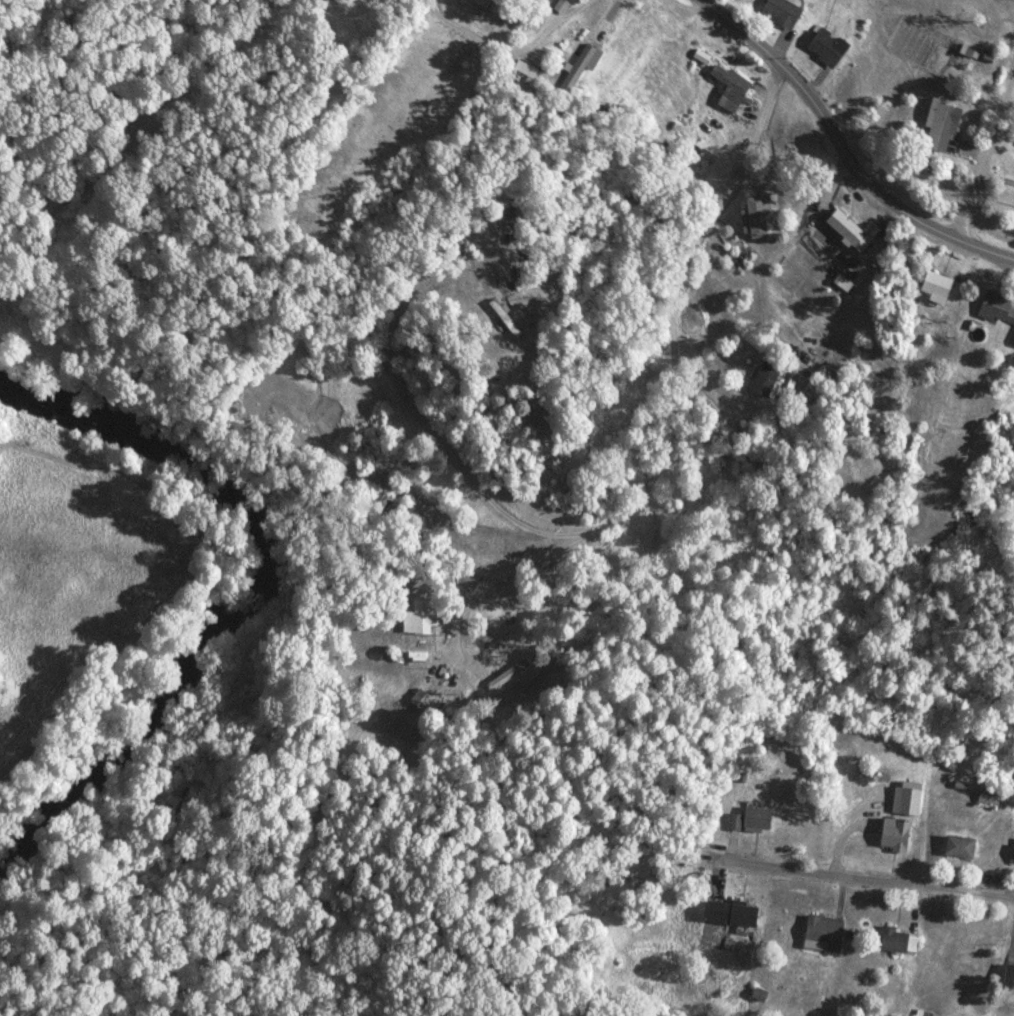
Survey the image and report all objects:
building: (571, 2)
road: (680, 4)
building: (782, 12)
building: (826, 49)
road: (514, 54)
building: (966, 57)
building: (581, 65)
road: (780, 76)
building: (731, 88)
building: (941, 125)
road: (982, 147)
building: (756, 217)
building: (853, 229)
road: (929, 229)
building: (937, 286)
building: (998, 306)
building: (1013, 338)
building: (767, 377)
building: (884, 441)
building: (385, 505)
road: (604, 518)
building: (419, 618)
river: (259, 622)
building: (509, 675)
building: (421, 701)
building: (990, 794)
building: (757, 820)
building: (896, 835)
building: (961, 847)
road: (878, 883)
building: (733, 916)
building: (824, 934)
building: (900, 942)
building: (1010, 975)

